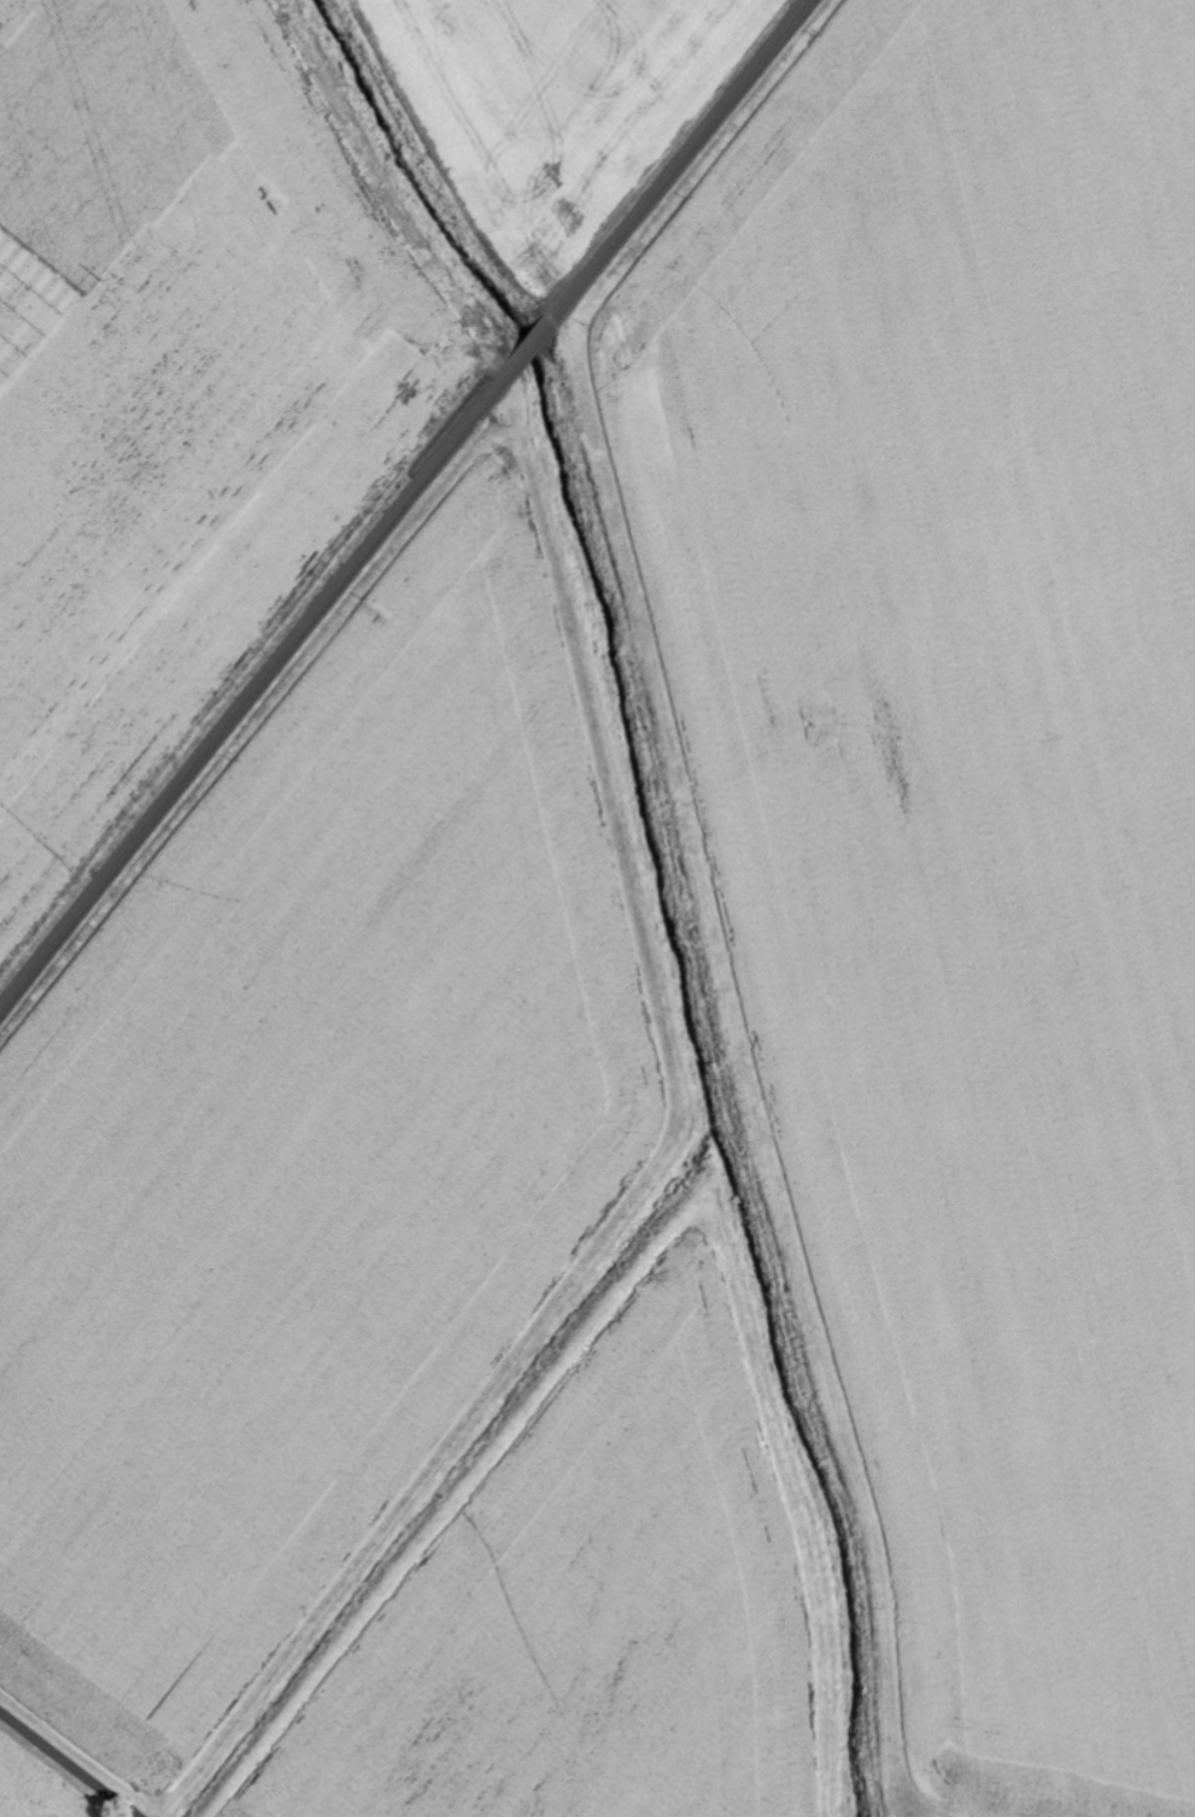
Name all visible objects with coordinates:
road: (403, 504)
road: (68, 1765)

